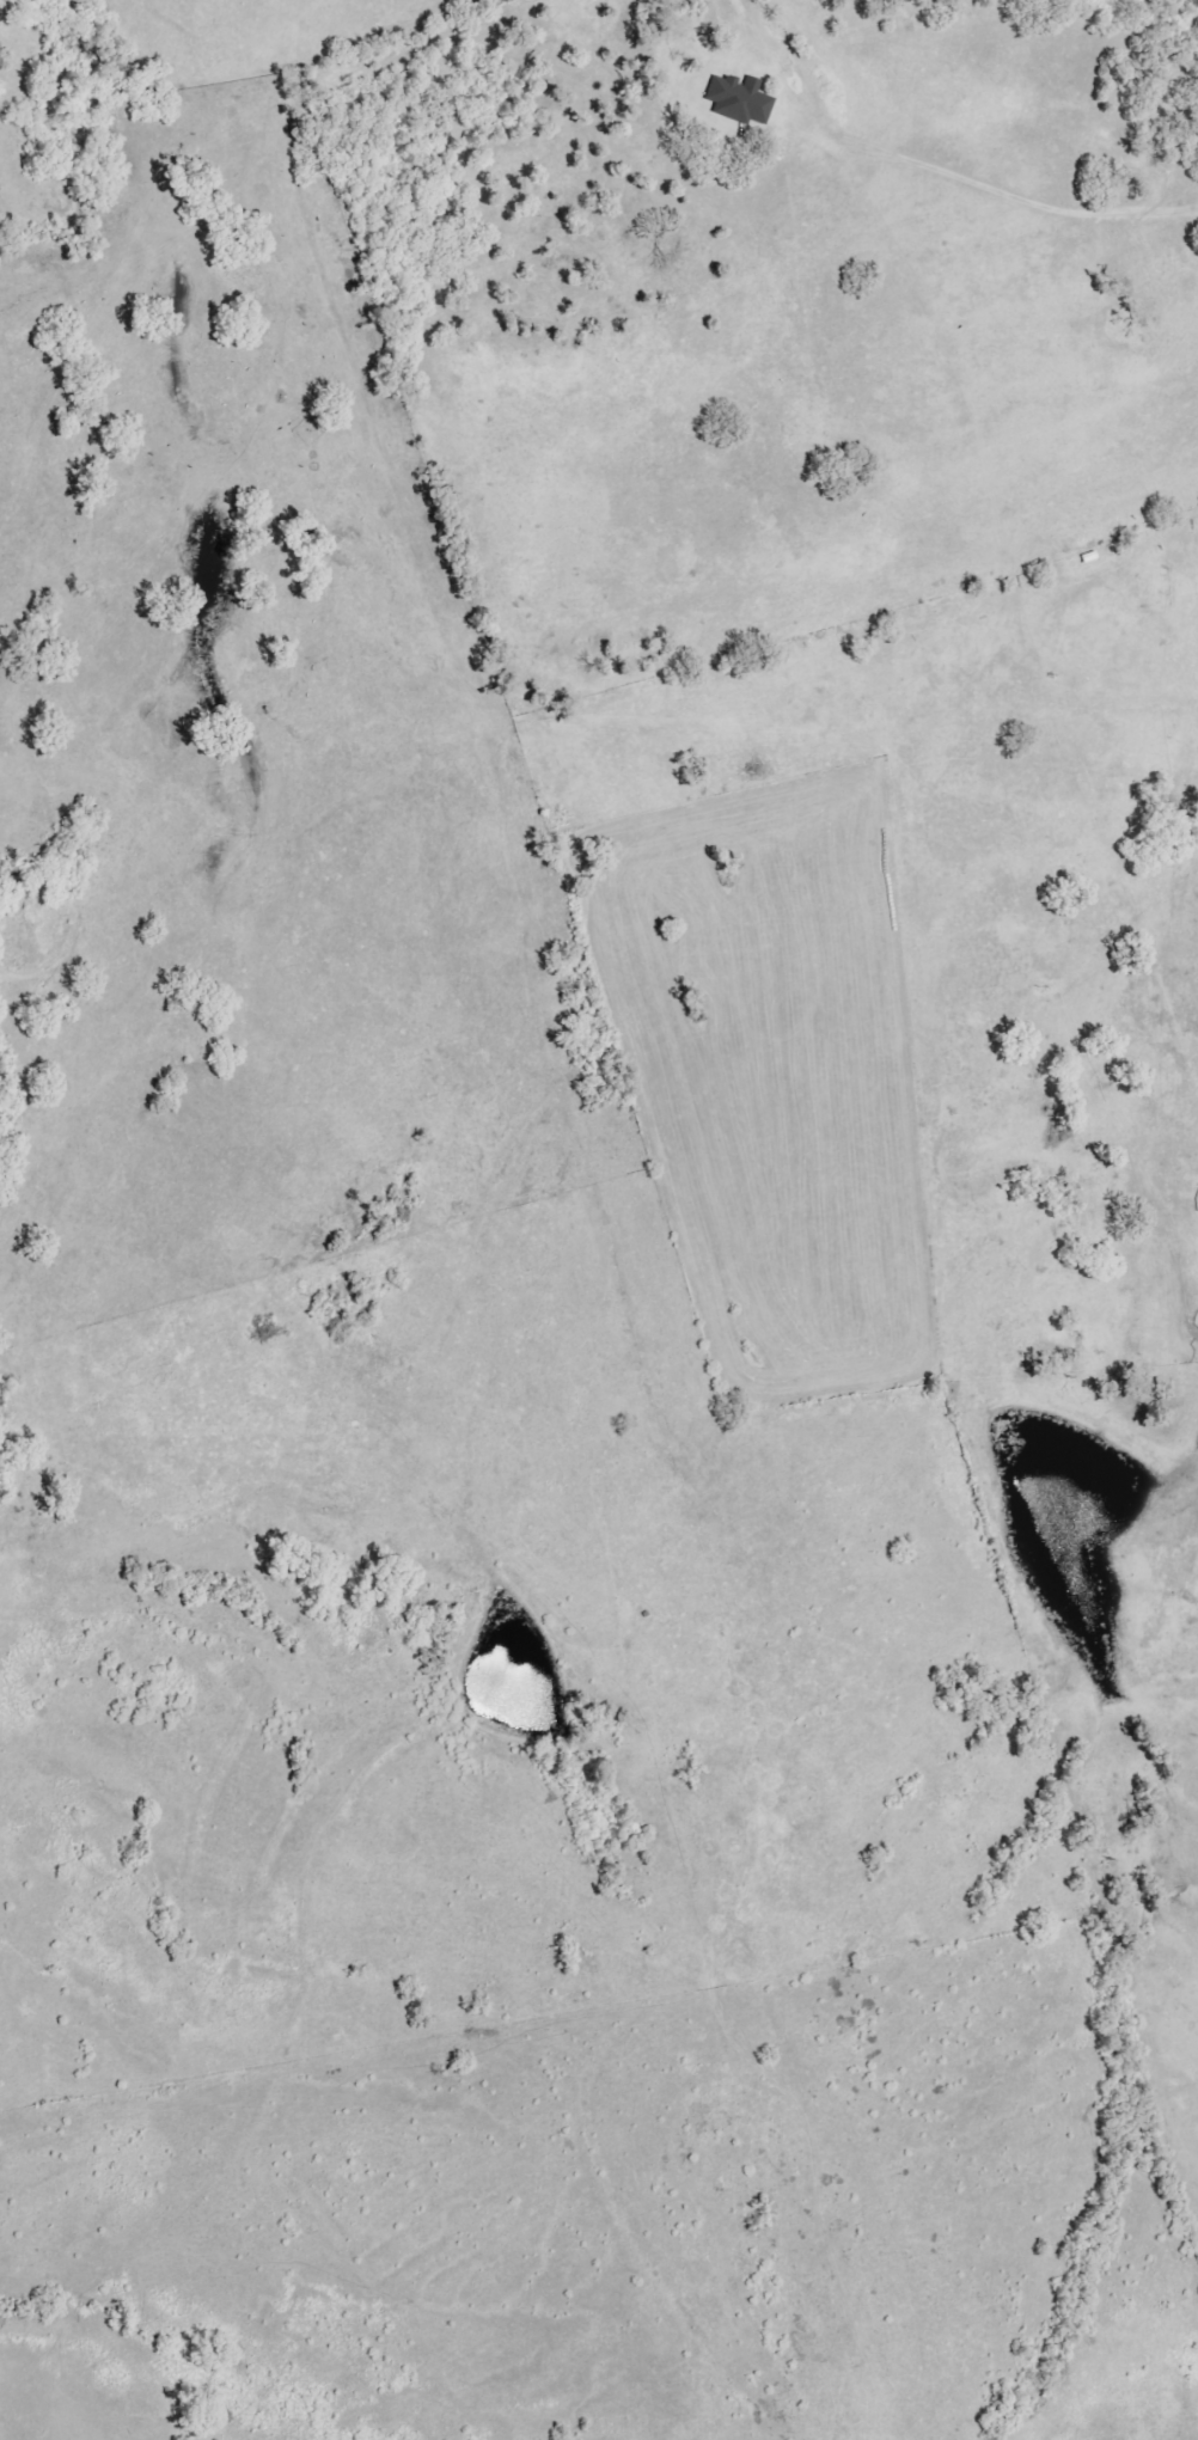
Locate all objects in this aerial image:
road: (946, 160)

